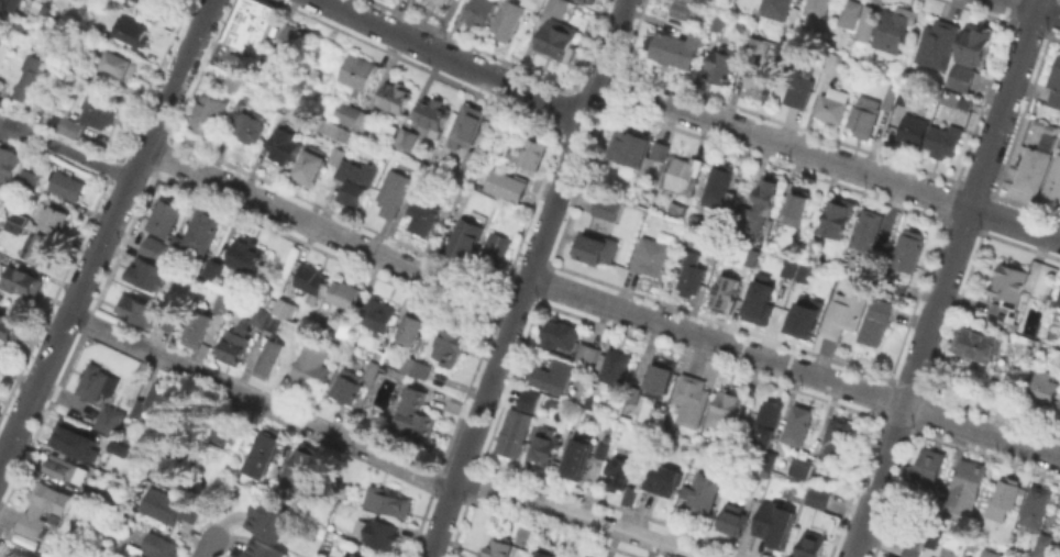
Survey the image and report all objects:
building: (134, 0)
building: (590, 0)
building: (43, 1)
building: (113, 1)
building: (157, 2)
building: (532, 2)
building: (439, 3)
building: (3, 4)
building: (557, 7)
building: (689, 8)
building: (817, 8)
road: (1033, 9)
building: (781, 10)
building: (479, 11)
building: (851, 12)
building: (718, 20)
building: (506, 21)
building: (868, 21)
building: (253, 25)
building: (894, 27)
building: (131, 30)
building: (294, 37)
building: (557, 38)
building: (754, 43)
building: (937, 43)
building: (975, 45)
building: (675, 47)
building: (117, 59)
road: (452, 59)
building: (833, 62)
building: (719, 63)
building: (36, 70)
building: (317, 71)
building: (358, 71)
road: (177, 74)
building: (760, 78)
building: (800, 78)
building: (963, 78)
building: (1, 82)
building: (233, 82)
building: (1055, 86)
building: (1, 90)
building: (907, 94)
building: (396, 96)
building: (1, 101)
building: (964, 102)
building: (286, 105)
building: (830, 108)
building: (98, 110)
building: (870, 110)
building: (347, 112)
building: (209, 113)
building: (433, 114)
building: (367, 122)
building: (68, 123)
building: (467, 124)
building: (250, 125)
building: (914, 127)
building: (389, 129)
building: (406, 136)
road: (575, 138)
building: (943, 140)
building: (284, 144)
building: (629, 145)
road: (65, 151)
building: (531, 152)
building: (336, 155)
road: (828, 159)
building: (8, 163)
building: (467, 163)
building: (311, 165)
building: (647, 167)
building: (1034, 167)
building: (680, 175)
building: (29, 179)
building: (484, 179)
building: (1055, 179)
building: (356, 180)
building: (507, 183)
building: (719, 183)
building: (68, 188)
building: (395, 193)
building: (759, 204)
building: (607, 205)
building: (796, 205)
building: (838, 215)
building: (423, 216)
building: (166, 218)
building: (53, 220)
building: (16, 224)
road: (329, 232)
building: (869, 234)
building: (803, 236)
building: (465, 237)
building: (196, 238)
building: (811, 243)
building: (596, 246)
building: (156, 247)
building: (496, 247)
building: (909, 248)
building: (40, 250)
building: (247, 254)
building: (652, 255)
building: (711, 256)
building: (750, 256)
building: (2, 257)
building: (788, 266)
building: (216, 268)
building: (804, 271)
building: (692, 272)
building: (150, 274)
road: (945, 278)
building: (312, 281)
building: (21, 282)
building: (1006, 291)
building: (726, 292)
building: (345, 294)
road: (520, 297)
building: (759, 298)
building: (1059, 302)
road: (71, 308)
building: (274, 310)
building: (139, 311)
building: (843, 313)
building: (378, 316)
building: (804, 316)
building: (168, 320)
building: (208, 321)
building: (879, 323)
building: (345, 330)
building: (410, 330)
building: (12, 332)
building: (563, 336)
building: (236, 343)
building: (978, 343)
building: (452, 348)
building: (587, 357)
building: (270, 359)
building: (312, 368)
building: (416, 368)
building: (614, 368)
road: (793, 368)
road: (18, 378)
building: (554, 378)
building: (661, 381)
building: (97, 383)
building: (354, 383)
building: (1044, 387)
building: (527, 399)
building: (155, 401)
building: (692, 401)
building: (1009, 402)
building: (1058, 408)
building: (725, 410)
building: (418, 415)
building: (110, 421)
building: (768, 422)
building: (799, 425)
building: (225, 433)
building: (515, 434)
road: (471, 436)
building: (73, 441)
building: (839, 441)
building: (117, 447)
building: (546, 447)
building: (599, 449)
building: (265, 455)
road: (377, 456)
building: (579, 457)
building: (177, 459)
building: (769, 459)
building: (300, 466)
building: (931, 466)
building: (802, 468)
building: (64, 469)
building: (619, 472)
building: (661, 481)
building: (965, 488)
building: (705, 495)
building: (631, 498)
building: (819, 498)
building: (1005, 498)
building: (387, 504)
building: (1037, 506)
building: (170, 509)
building: (43, 510)
building: (269, 522)
building: (735, 522)
building: (775, 526)
building: (382, 534)
building: (932, 536)
road: (209, 544)
building: (813, 544)
building: (913, 546)
building: (161, 547)
building: (1046, 547)
building: (263, 549)
building: (499, 549)
building: (133, 552)
building: (549, 552)
building: (986, 553)
building: (15, 555)
building: (27, 555)
road: (201, 555)
building: (351, 556)
building: (890, 556)
building: (928, 556)

